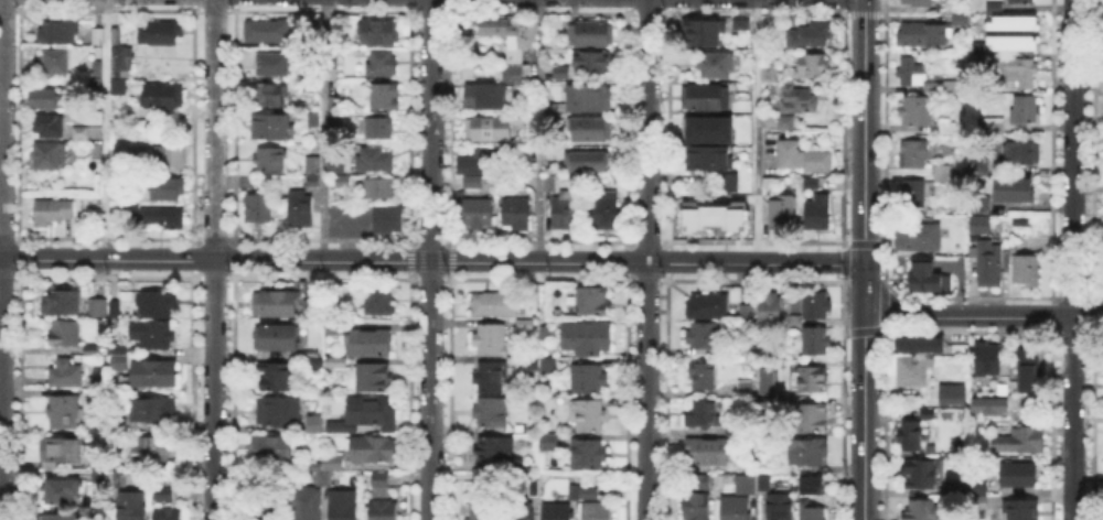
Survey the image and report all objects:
building: (1021, 1)
building: (915, 3)
building: (992, 6)
building: (946, 7)
building: (738, 21)
building: (1010, 21)
building: (962, 22)
building: (494, 28)
building: (703, 30)
building: (58, 31)
building: (268, 31)
building: (381, 31)
building: (525, 31)
building: (589, 34)
building: (164, 35)
building: (811, 35)
building: (117, 36)
building: (925, 36)
building: (99, 37)
building: (1010, 41)
building: (514, 55)
building: (57, 62)
building: (383, 63)
building: (592, 63)
building: (717, 65)
building: (276, 66)
building: (812, 66)
building: (98, 69)
building: (122, 69)
building: (912, 72)
building: (561, 73)
building: (769, 73)
building: (1021, 73)
building: (511, 74)
building: (944, 88)
building: (269, 95)
building: (162, 96)
building: (385, 97)
building: (489, 97)
building: (706, 97)
building: (529, 98)
building: (588, 98)
building: (45, 100)
building: (332, 101)
building: (797, 105)
building: (1026, 110)
building: (919, 111)
building: (314, 120)
building: (334, 121)
building: (49, 126)
building: (996, 126)
building: (275, 127)
building: (492, 128)
building: (703, 128)
building: (949, 128)
building: (377, 129)
road: (105, 130)
building: (589, 130)
road: (322, 131)
road: (539, 131)
building: (81, 132)
road: (756, 132)
road: (865, 132)
building: (98, 151)
building: (140, 154)
building: (1022, 154)
building: (913, 155)
building: (50, 158)
building: (804, 159)
building: (172, 160)
building: (374, 160)
building: (271, 161)
building: (475, 161)
building: (587, 162)
building: (312, 163)
building: (714, 165)
building: (981, 165)
building: (336, 166)
building: (942, 174)
building: (312, 180)
building: (549, 181)
building: (720, 181)
building: (345, 183)
building: (473, 183)
building: (381, 186)
building: (164, 189)
building: (1017, 192)
building: (913, 193)
building: (979, 202)
building: (130, 207)
building: (259, 209)
building: (301, 209)
building: (565, 212)
building: (607, 212)
building: (53, 213)
building: (782, 213)
building: (820, 213)
building: (706, 214)
building: (517, 215)
building: (478, 216)
building: (164, 217)
building: (389, 219)
building: (979, 221)
building: (919, 237)
road: (1, 259)
road: (429, 259)
road: (1071, 259)
road: (214, 260)
road: (647, 260)
road: (432, 262)
traffic signals: (865, 264)
building: (990, 266)
building: (1029, 271)
building: (930, 279)
road: (864, 284)
building: (381, 301)
building: (595, 302)
building: (158, 303)
building: (335, 303)
building: (280, 304)
building: (493, 304)
traffic signals: (864, 304)
building: (310, 305)
building: (816, 305)
building: (706, 306)
building: (97, 308)
building: (770, 308)
building: (117, 310)
building: (748, 312)
road: (982, 317)
building: (64, 318)
building: (793, 321)
building: (527, 325)
building: (333, 327)
building: (154, 334)
building: (546, 335)
building: (705, 336)
building: (277, 338)
building: (588, 339)
building: (492, 342)
building: (373, 343)
building: (817, 343)
building: (923, 343)
building: (116, 346)
building: (782, 346)
building: (92, 350)
building: (308, 351)
building: (988, 360)
building: (118, 361)
building: (785, 361)
building: (338, 362)
building: (529, 364)
building: (315, 366)
building: (550, 366)
building: (912, 370)
building: (1030, 370)
building: (66, 373)
building: (156, 375)
building: (276, 376)
building: (703, 376)
building: (492, 378)
building: (374, 379)
building: (589, 379)
building: (764, 379)
building: (808, 379)
building: (745, 386)
building: (992, 405)
building: (153, 411)
building: (702, 411)
building: (279, 412)
building: (491, 412)
road: (864, 412)
building: (67, 413)
building: (365, 413)
building: (929, 414)
building: (810, 415)
building: (589, 416)
building: (121, 425)
building: (317, 426)
building: (732, 429)
building: (911, 437)
building: (1020, 441)
building: (550, 442)
building: (494, 447)
building: (372, 449)
building: (62, 451)
building: (274, 451)
building: (157, 452)
building: (708, 453)
building: (808, 453)
building: (588, 454)
building: (335, 462)
building: (768, 463)
building: (922, 476)
building: (1018, 476)
building: (110, 478)
building: (324, 478)
building: (763, 481)
building: (382, 483)
building: (700, 483)
building: (747, 484)
building: (978, 484)
building: (813, 487)
building: (954, 487)
building: (575, 490)
building: (63, 491)
building: (165, 494)
building: (593, 494)
building: (982, 501)
building: (303, 506)
building: (344, 506)
building: (131, 507)
building: (261, 507)
building: (780, 507)
building: (697, 508)
building: (737, 508)
building: (481, 510)
building: (518, 510)
building: (920, 510)
building: (1021, 510)
building: (384, 511)
building: (559, 512)
building: (596, 512)
building: (812, 513)
building: (168, 514)
building: (62, 517)

